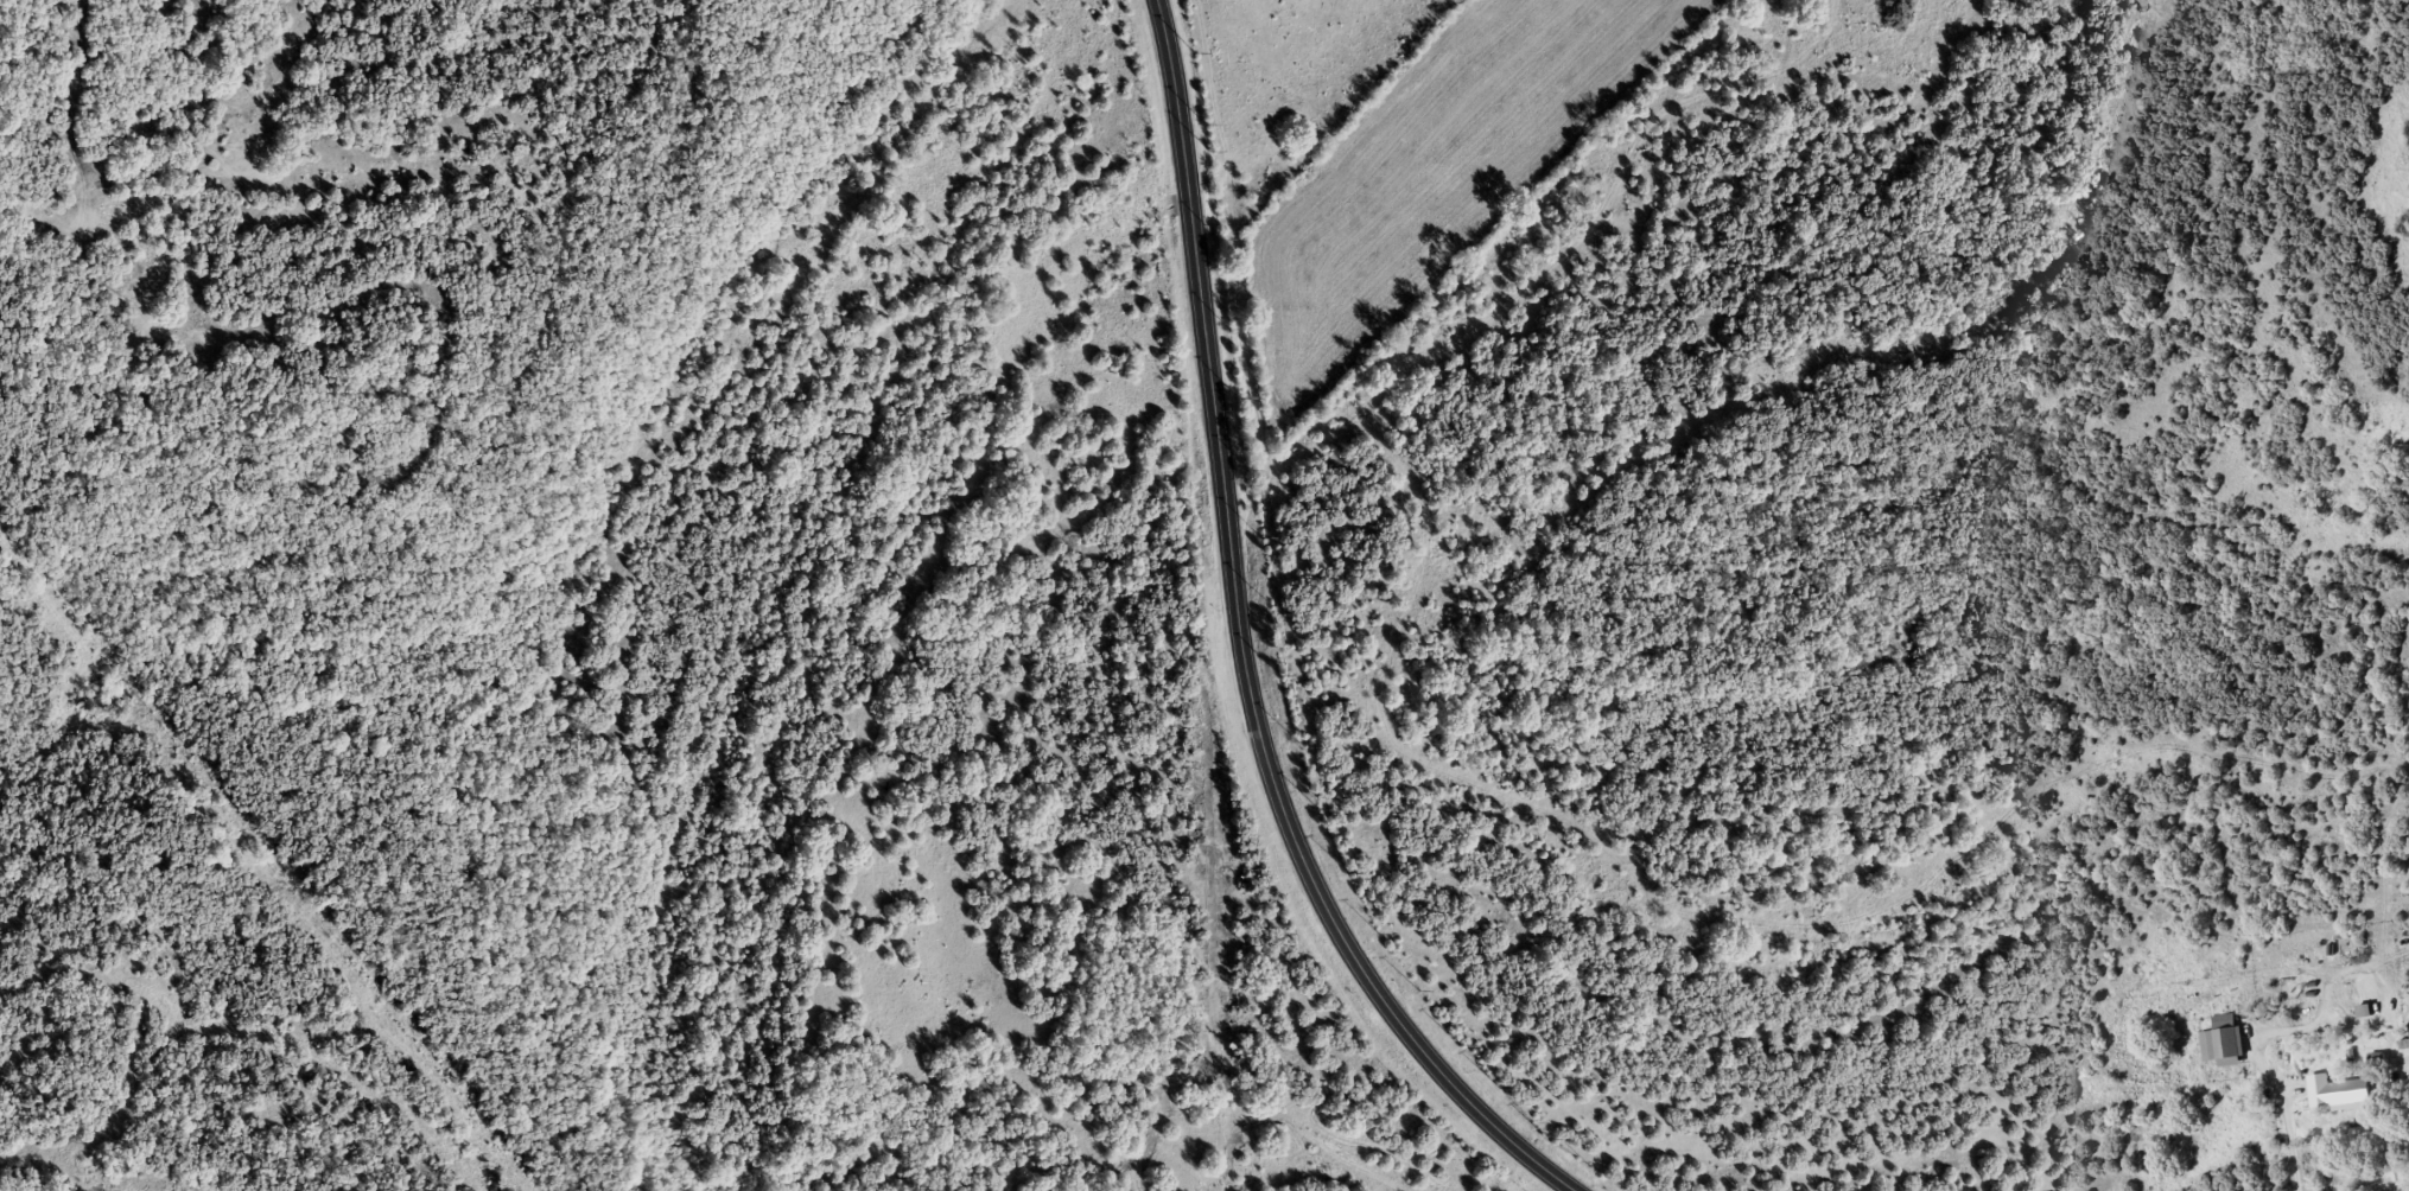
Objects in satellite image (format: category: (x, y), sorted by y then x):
road: (151, 254)
road: (1244, 648)
building: (2223, 1040)
road: (2269, 1077)
building: (2338, 1093)

